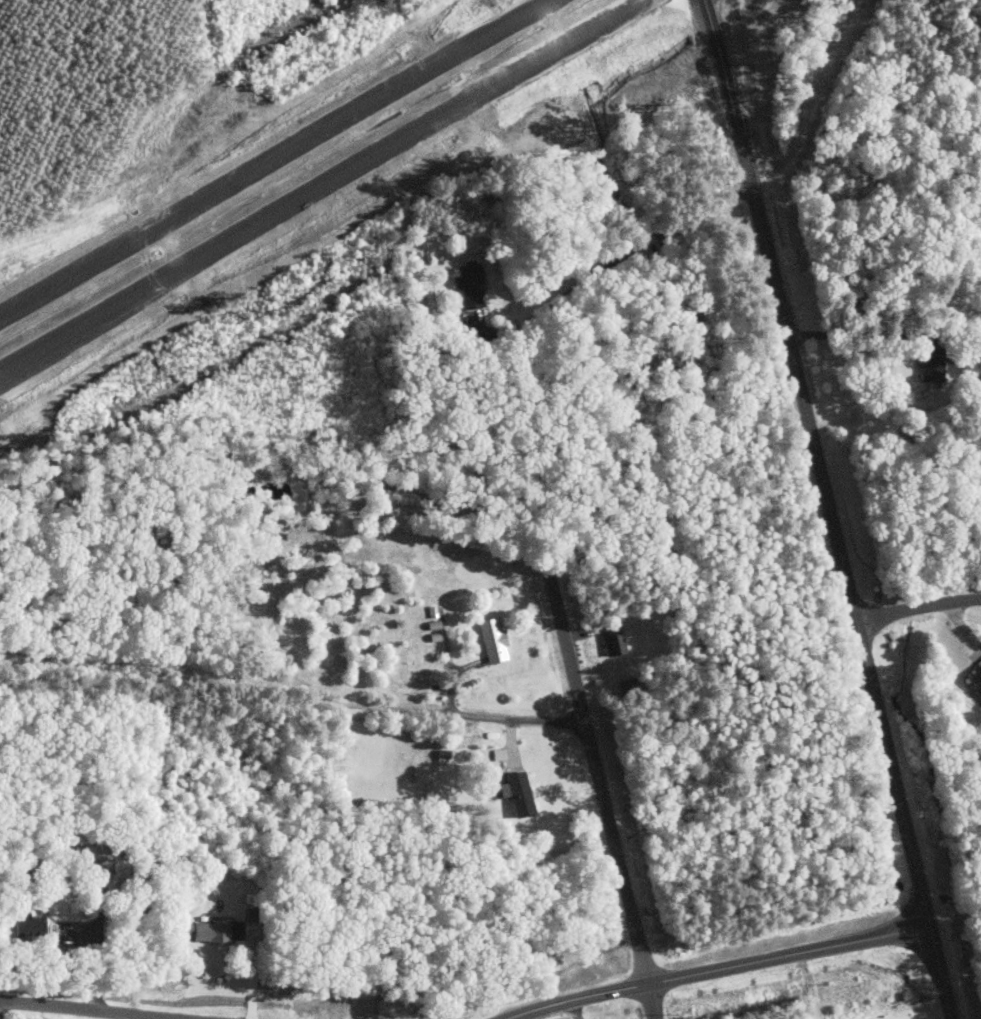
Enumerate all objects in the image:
road: (715, 37)
road: (273, 159)
road: (352, 164)
road: (703, 212)
road: (649, 240)
building: (473, 285)
road: (564, 295)
road: (854, 333)
road: (35, 349)
building: (932, 364)
road: (839, 547)
road: (918, 607)
building: (497, 640)
building: (613, 644)
building: (975, 678)
road: (520, 722)
building: (501, 753)
building: (525, 794)
road: (603, 795)
building: (37, 925)
building: (215, 930)
road: (98, 955)
road: (717, 969)
road: (253, 970)
road: (86, 1010)

